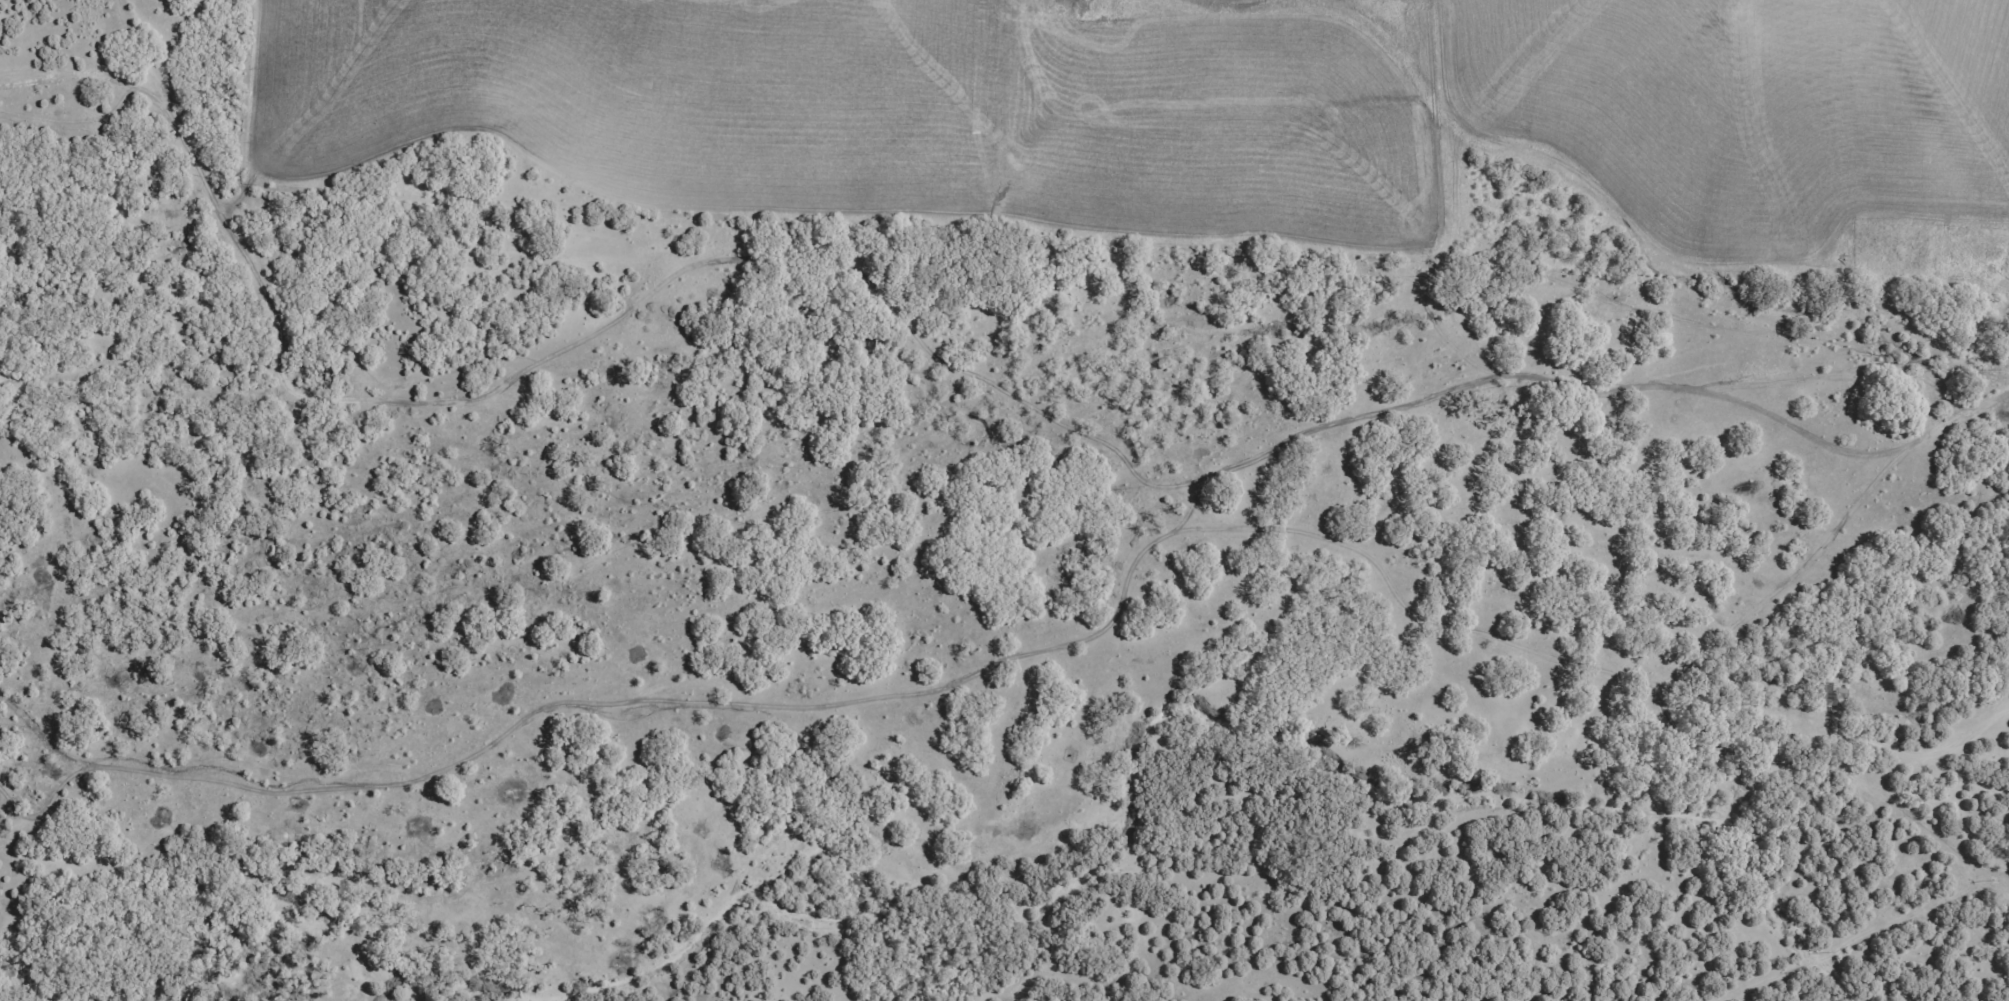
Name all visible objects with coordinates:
building: (1834, 696)

